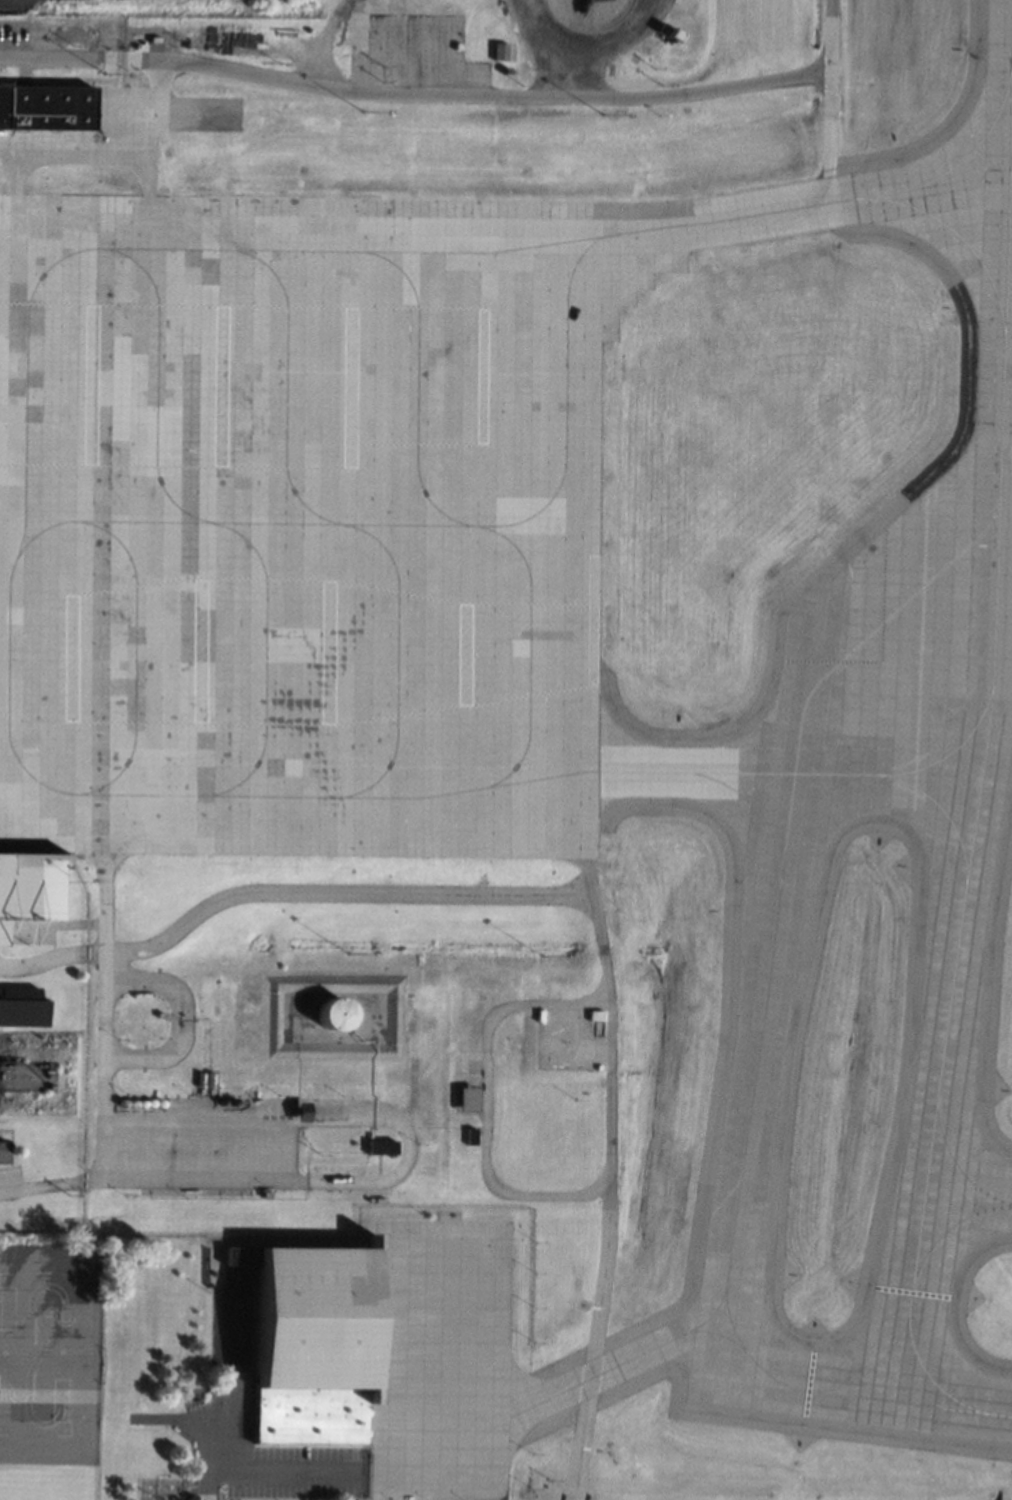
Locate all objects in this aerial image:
parking lot: (11, 7)
building: (359, 31)
building: (667, 33)
building: (500, 50)
building: (634, 56)
road: (61, 58)
building: (612, 68)
road: (830, 102)
building: (46, 105)
airport taxiway: (805, 208)
airport apron: (299, 526)
airport taxiway: (985, 718)
airport: (507, 752)
airport taxiway: (787, 771)
building: (28, 884)
road: (286, 892)
building: (138, 994)
building: (21, 1006)
building: (157, 1013)
building: (331, 1013)
road: (103, 1014)
building: (594, 1015)
airport taxiway: (755, 1042)
building: (24, 1075)
building: (463, 1099)
building: (299, 1110)
building: (468, 1136)
building: (379, 1146)
building: (3, 1151)
road: (51, 1184)
building: (264, 1194)
airport taxiway: (969, 1195)
building: (442, 1216)
road: (597, 1334)
airport hangar: (310, 1341)
building: (310, 1341)
airport taxiway: (746, 1350)
airport apron: (441, 1359)
road: (233, 1391)
road: (173, 1422)
road: (286, 1474)
building: (176, 1498)

